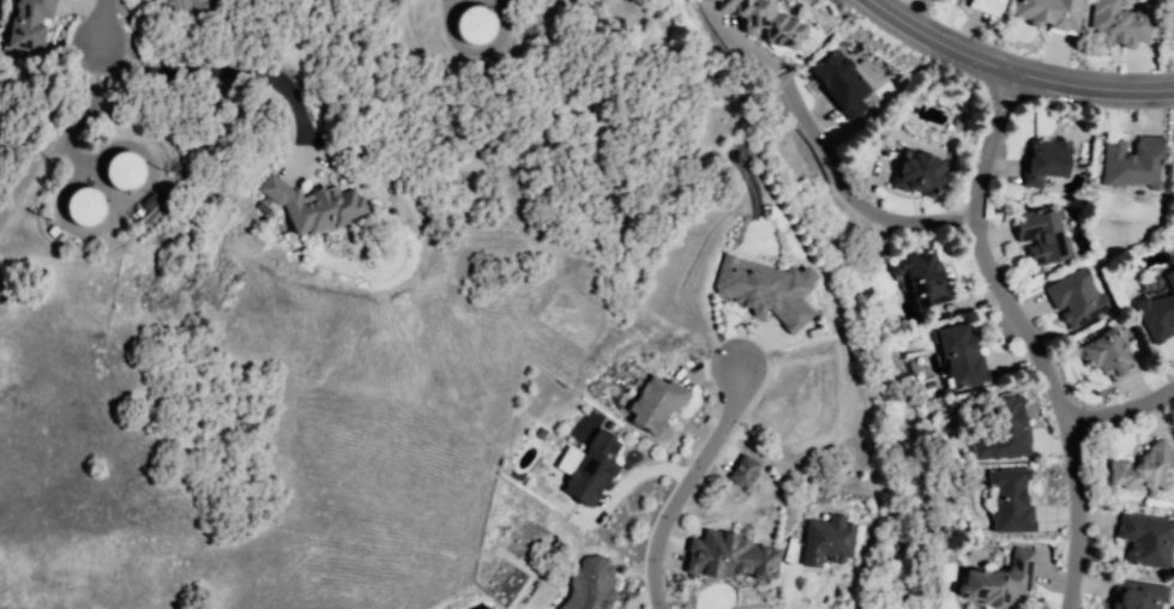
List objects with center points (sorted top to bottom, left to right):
building: (992, 2)
building: (197, 4)
building: (1053, 13)
road: (101, 23)
building: (766, 23)
building: (1122, 23)
building: (30, 25)
building: (478, 25)
road: (1018, 68)
road: (217, 76)
building: (845, 84)
road: (64, 139)
building: (1044, 161)
building: (1132, 162)
building: (128, 174)
building: (919, 177)
road: (850, 193)
building: (90, 209)
building: (319, 209)
building: (1047, 234)
building: (929, 275)
building: (765, 289)
building: (1078, 300)
building: (1158, 312)
road: (1024, 334)
building: (965, 352)
building: (1110, 352)
building: (661, 402)
road: (1121, 406)
building: (1000, 422)
building: (595, 468)
building: (746, 470)
building: (1145, 470)
road: (684, 483)
building: (1013, 500)
building: (826, 539)
building: (1150, 539)
building: (732, 555)
building: (1004, 583)
building: (594, 584)
building: (1139, 595)
building: (488, 607)

